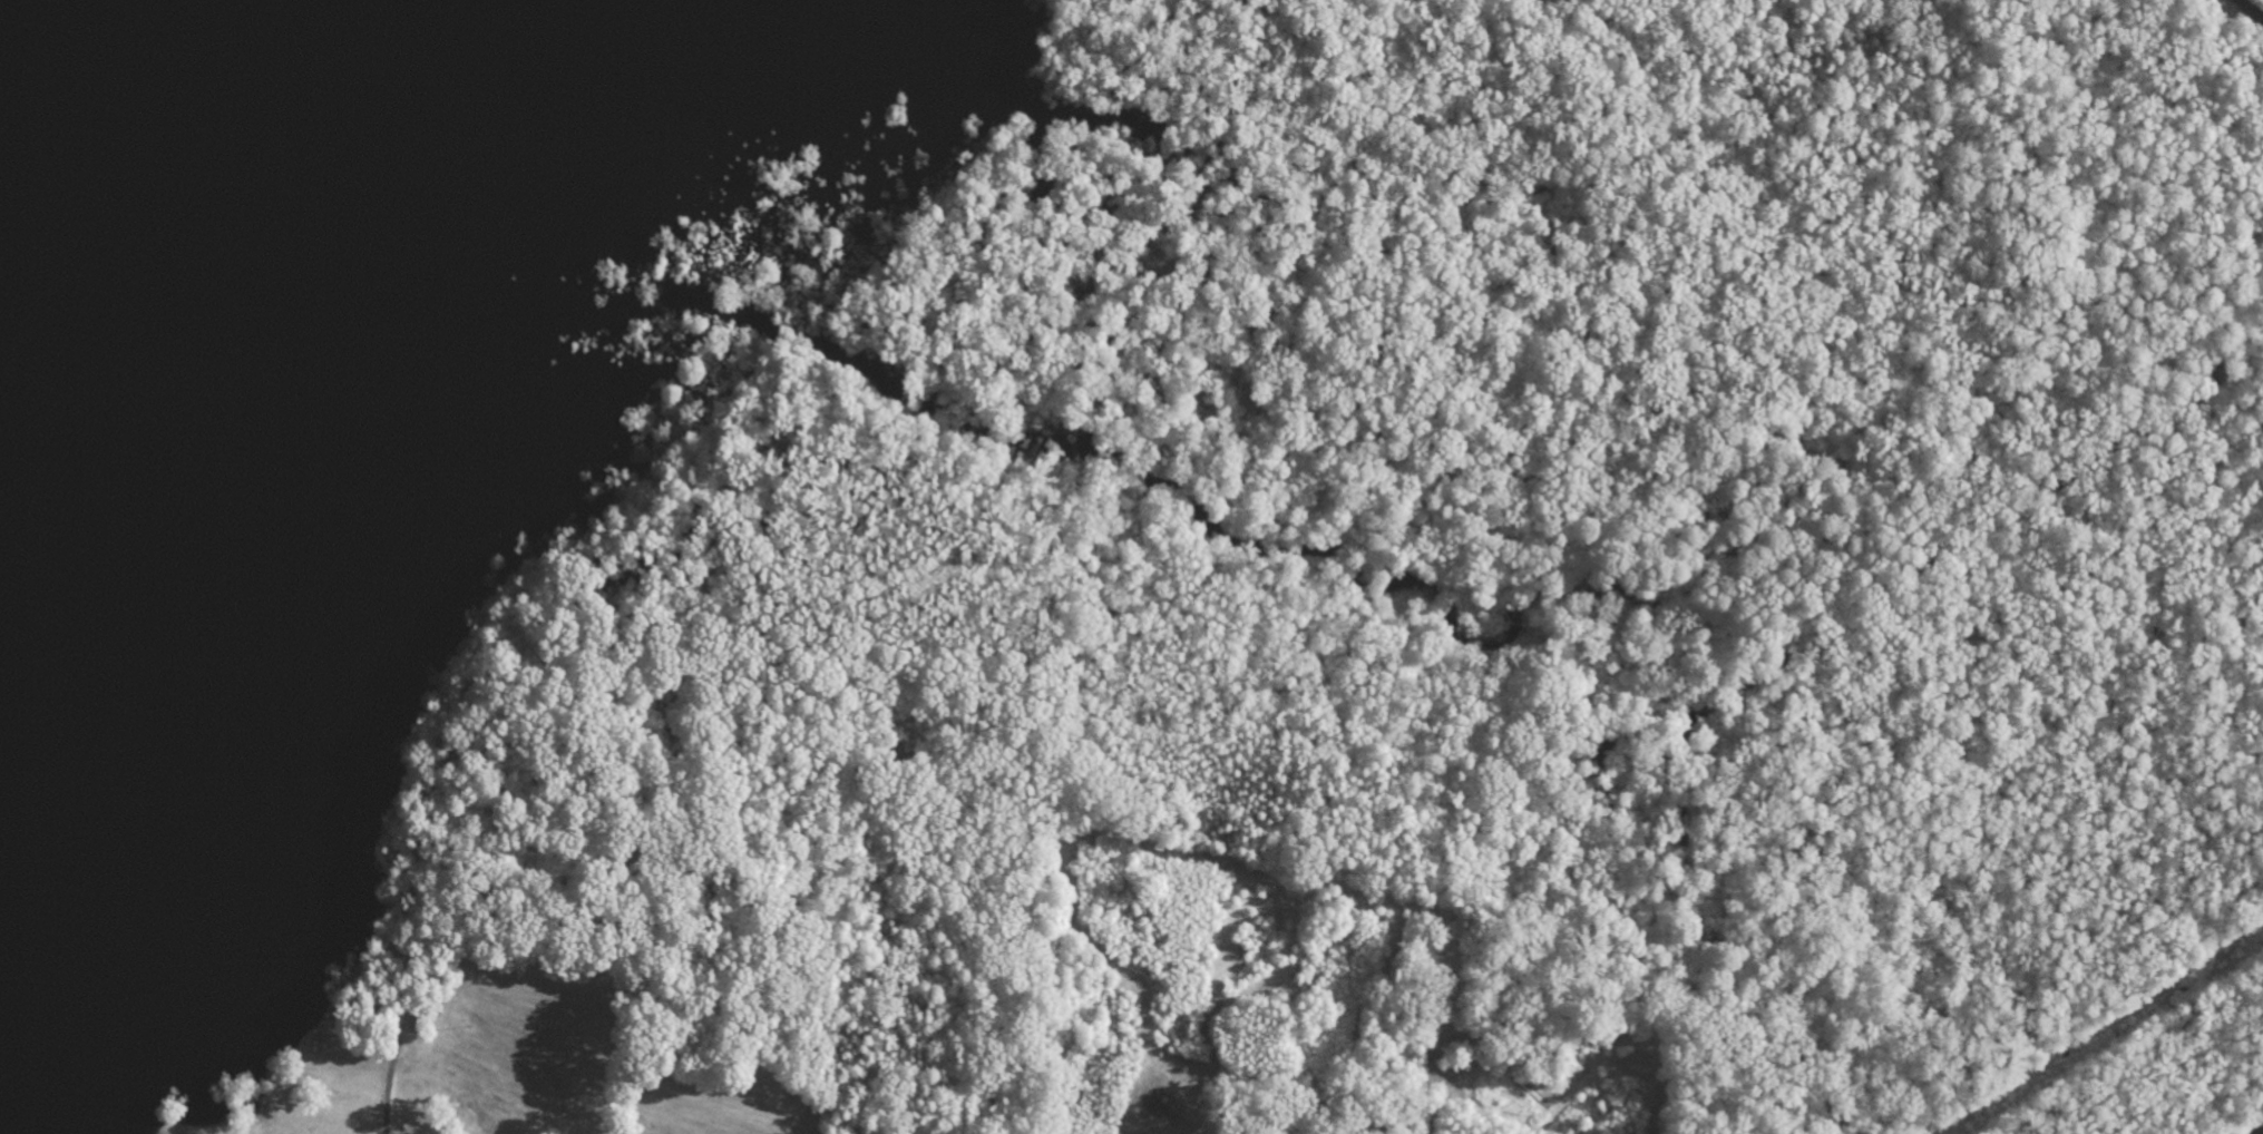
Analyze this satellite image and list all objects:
road: (2249, 10)
road: (2257, 213)
road: (420, 1112)

